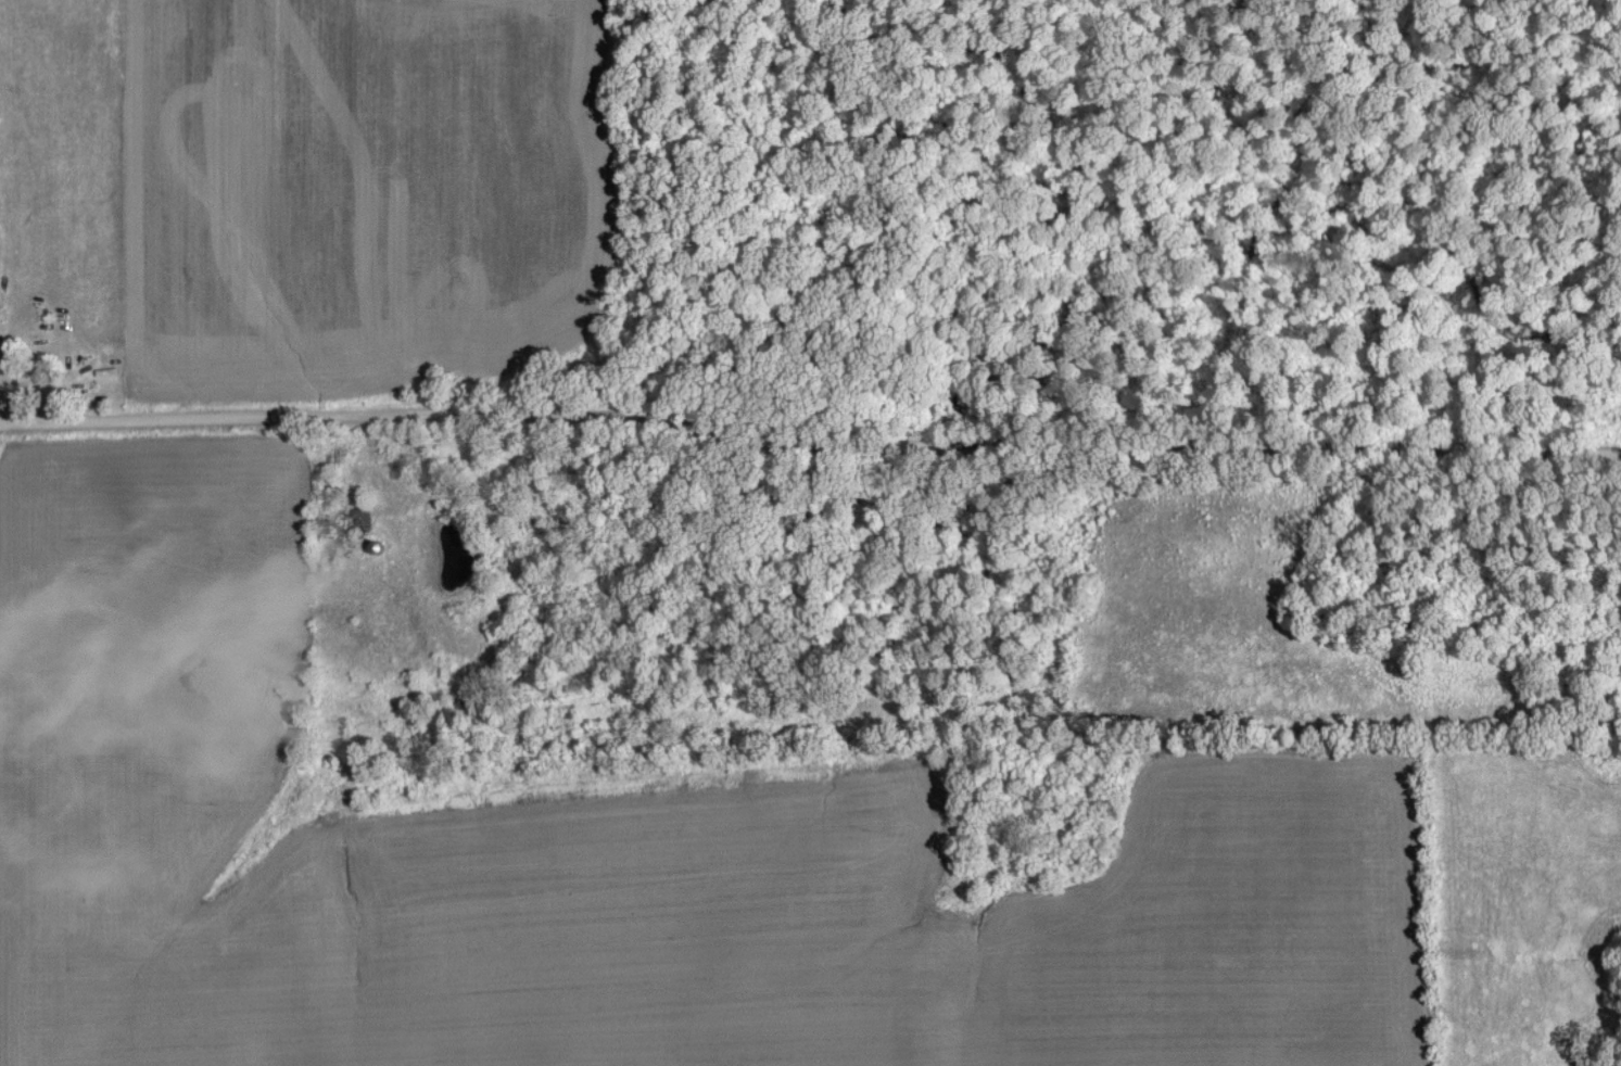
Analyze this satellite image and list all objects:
road: (810, 424)

